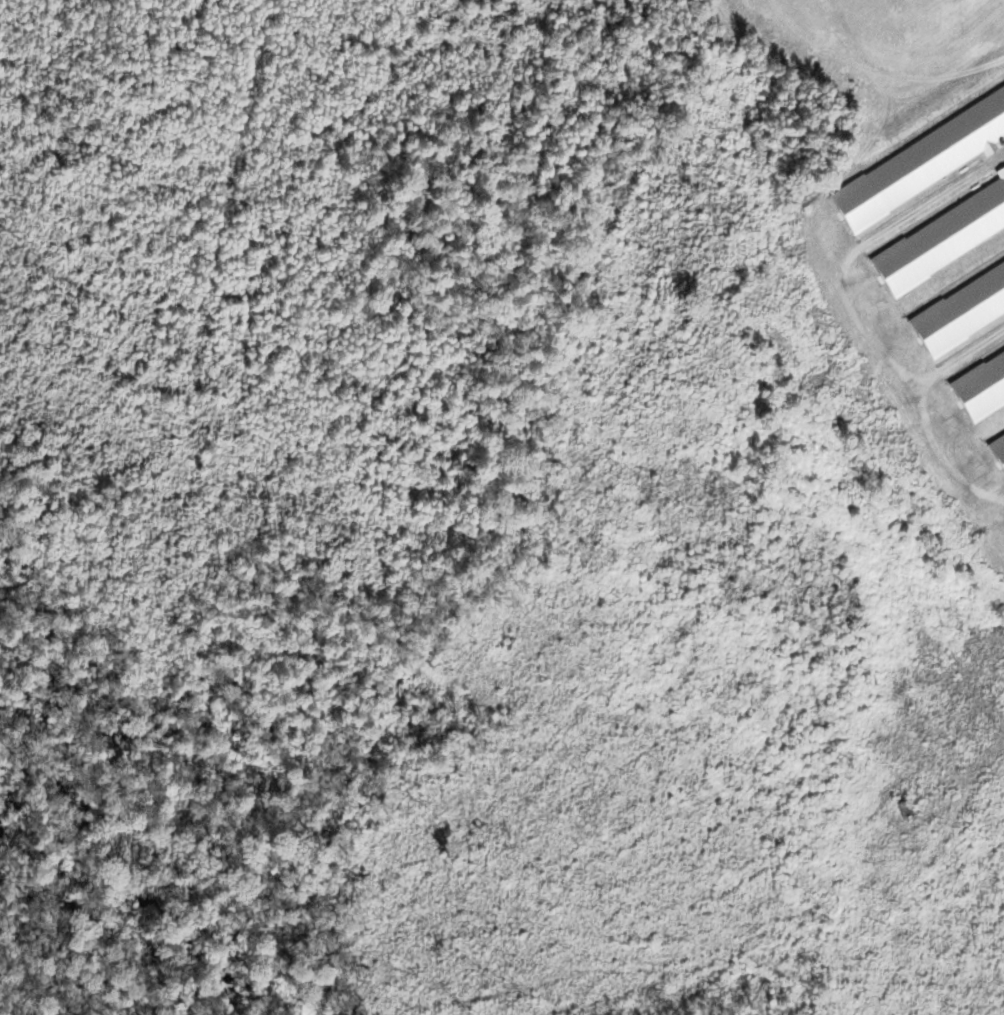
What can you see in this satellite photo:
building: (901, 208)
building: (956, 413)
building: (985, 517)

